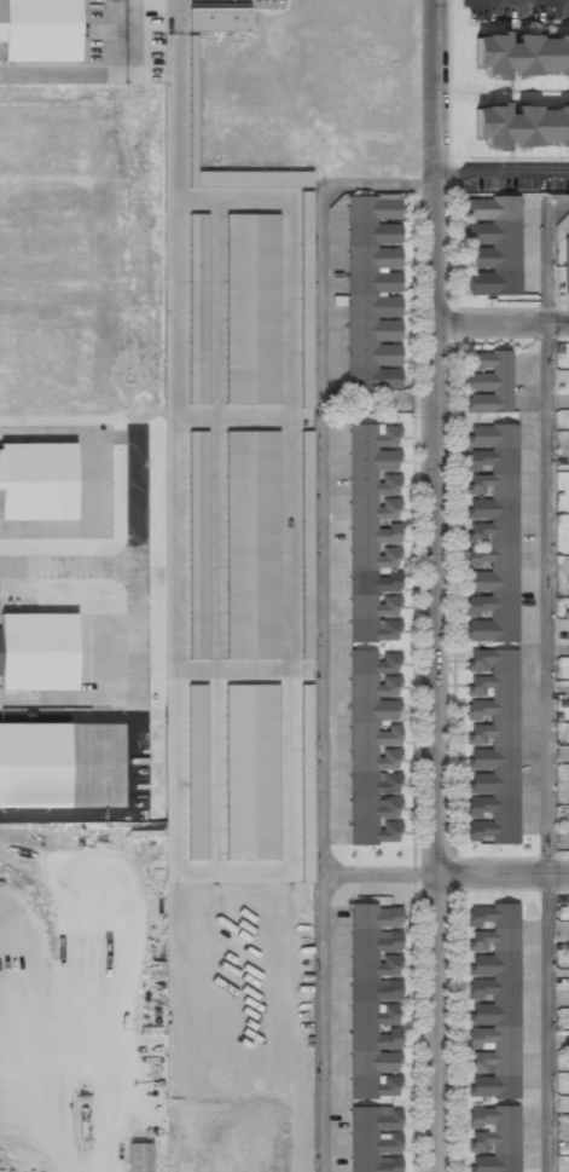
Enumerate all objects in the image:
road: (516, 0)
building: (220, 21)
building: (39, 30)
building: (521, 54)
building: (522, 126)
road: (499, 179)
building: (493, 248)
building: (567, 261)
building: (375, 294)
building: (307, 298)
building: (199, 310)
building: (252, 310)
road: (499, 325)
building: (489, 383)
building: (36, 480)
building: (375, 535)
building: (492, 535)
building: (198, 545)
building: (252, 545)
building: (307, 545)
road: (69, 566)
road: (139, 568)
road: (430, 585)
road: (320, 627)
building: (37, 651)
road: (545, 681)
building: (376, 746)
building: (492, 746)
building: (34, 764)
building: (197, 770)
building: (251, 772)
road: (499, 868)
road: (376, 873)
airport: (81, 1000)
building: (376, 1001)
building: (493, 1003)
building: (376, 1138)
building: (494, 1138)
building: (140, 1159)
building: (568, 1166)

